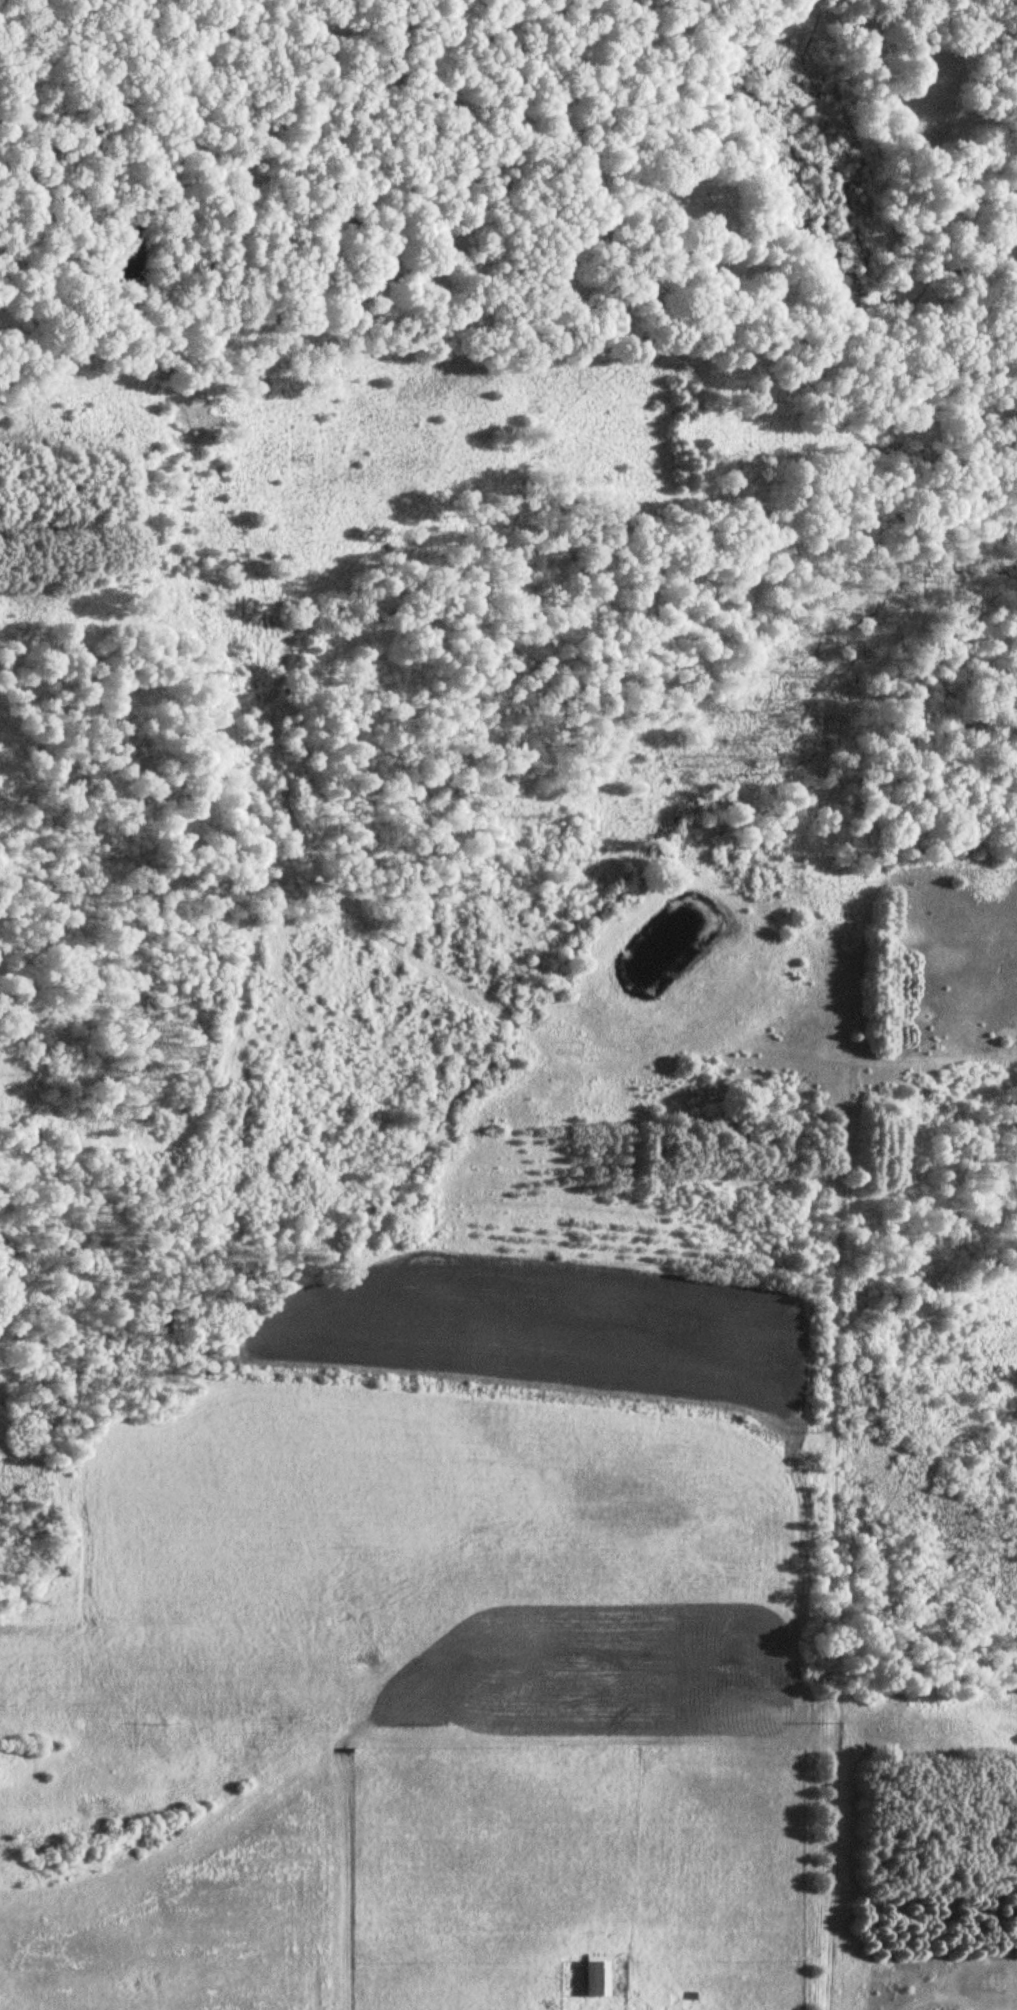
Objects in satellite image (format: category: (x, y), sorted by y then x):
building: (594, 1975)

